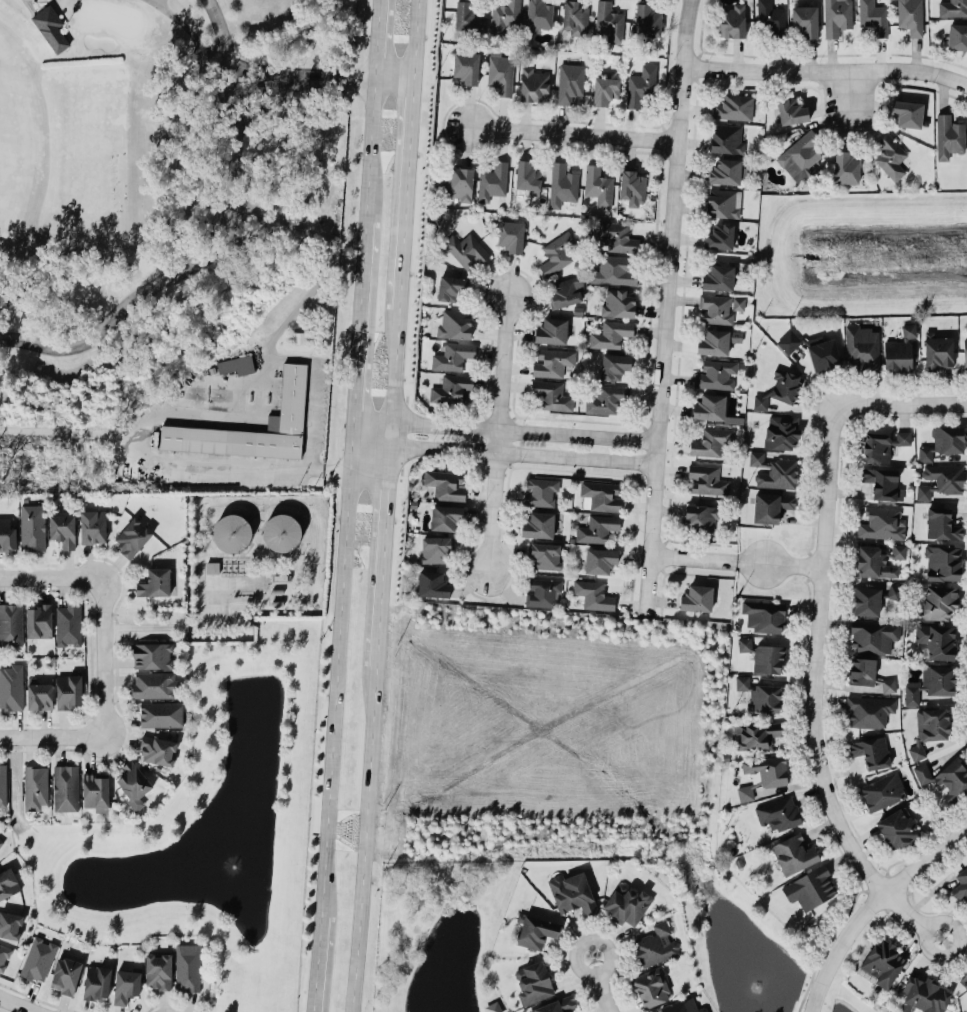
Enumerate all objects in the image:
building: (952, 7)
building: (466, 15)
building: (538, 15)
building: (504, 16)
building: (575, 16)
building: (837, 16)
building: (873, 16)
building: (909, 16)
building: (771, 17)
building: (647, 19)
building: (730, 19)
building: (804, 19)
building: (609, 20)
building: (52, 28)
building: (957, 35)
road: (377, 38)
road: (415, 38)
road: (254, 67)
building: (465, 67)
road: (823, 70)
building: (501, 73)
road: (288, 76)
road: (378, 77)
building: (569, 81)
building: (534, 83)
building: (641, 84)
building: (605, 88)
road: (847, 89)
road: (265, 101)
building: (733, 106)
building: (791, 110)
building: (907, 111)
road: (570, 132)
building: (948, 135)
building: (726, 137)
road: (371, 148)
building: (799, 154)
building: (890, 155)
building: (846, 165)
building: (724, 170)
building: (526, 176)
building: (491, 180)
building: (457, 183)
building: (561, 183)
building: (597, 185)
building: (633, 186)
road: (406, 192)
building: (722, 201)
building: (510, 235)
building: (719, 235)
building: (617, 236)
park: (169, 243)
road: (218, 245)
building: (465, 248)
building: (556, 253)
building: (614, 270)
building: (717, 275)
building: (451, 286)
building: (567, 290)
building: (618, 301)
road: (666, 304)
building: (717, 307)
building: (454, 322)
building: (551, 329)
road: (360, 332)
building: (610, 333)
building: (299, 336)
building: (716, 340)
building: (788, 340)
building: (861, 347)
building: (899, 349)
building: (937, 350)
building: (824, 353)
building: (964, 353)
building: (453, 354)
building: (551, 360)
building: (614, 363)
building: (236, 364)
road: (397, 364)
building: (715, 373)
building: (785, 385)
building: (292, 387)
building: (451, 388)
building: (551, 393)
building: (606, 397)
building: (759, 401)
road: (901, 404)
building: (709, 405)
road: (189, 419)
road: (506, 430)
building: (781, 430)
road: (493, 432)
building: (901, 436)
building: (710, 440)
building: (942, 440)
building: (876, 446)
road: (506, 454)
building: (773, 470)
building: (706, 478)
building: (940, 478)
building: (883, 482)
building: (445, 483)
building: (541, 491)
building: (599, 495)
building: (770, 505)
building: (445, 515)
building: (701, 517)
building: (881, 522)
building: (941, 522)
building: (537, 524)
building: (33, 526)
building: (93, 526)
building: (596, 527)
building: (62, 528)
building: (282, 531)
building: (7, 532)
building: (232, 532)
building: (131, 536)
road: (382, 542)
building: (434, 548)
building: (898, 549)
building: (545, 554)
building: (599, 559)
road: (736, 561)
building: (872, 561)
building: (942, 561)
building: (210, 566)
road: (48, 576)
building: (154, 581)
building: (433, 583)
building: (894, 590)
building: (542, 591)
building: (593, 593)
building: (696, 597)
building: (866, 599)
building: (938, 600)
building: (763, 614)
building: (38, 619)
building: (11, 623)
building: (68, 623)
road: (175, 627)
building: (874, 634)
building: (935, 639)
building: (151, 654)
building: (763, 655)
road: (98, 656)
building: (867, 673)
road: (337, 679)
building: (930, 682)
building: (154, 684)
building: (11, 685)
building: (68, 690)
building: (39, 693)
building: (759, 693)
road: (814, 693)
building: (867, 709)
building: (161, 713)
building: (932, 722)
building: (755, 733)
road: (50, 736)
building: (156, 749)
building: (870, 750)
building: (916, 751)
building: (762, 774)
building: (945, 776)
building: (132, 783)
building: (3, 784)
building: (36, 786)
building: (65, 787)
building: (95, 791)
building: (882, 791)
building: (779, 812)
building: (897, 827)
road: (365, 838)
building: (1, 841)
building: (793, 852)
building: (7, 882)
building: (961, 885)
building: (810, 886)
building: (572, 891)
building: (627, 903)
road: (869, 904)
building: (10, 923)
building: (535, 930)
road: (826, 935)
building: (656, 943)
building: (4, 954)
building: (38, 958)
building: (882, 961)
road: (317, 962)
building: (187, 967)
building: (158, 970)
building: (65, 973)
fountain: (751, 977)
building: (963, 979)
building: (96, 982)
building: (533, 982)
building: (126, 984)
road: (600, 984)
building: (650, 986)
building: (924, 993)
road: (20, 1003)
building: (555, 1004)
building: (493, 1006)
building: (687, 1007)

